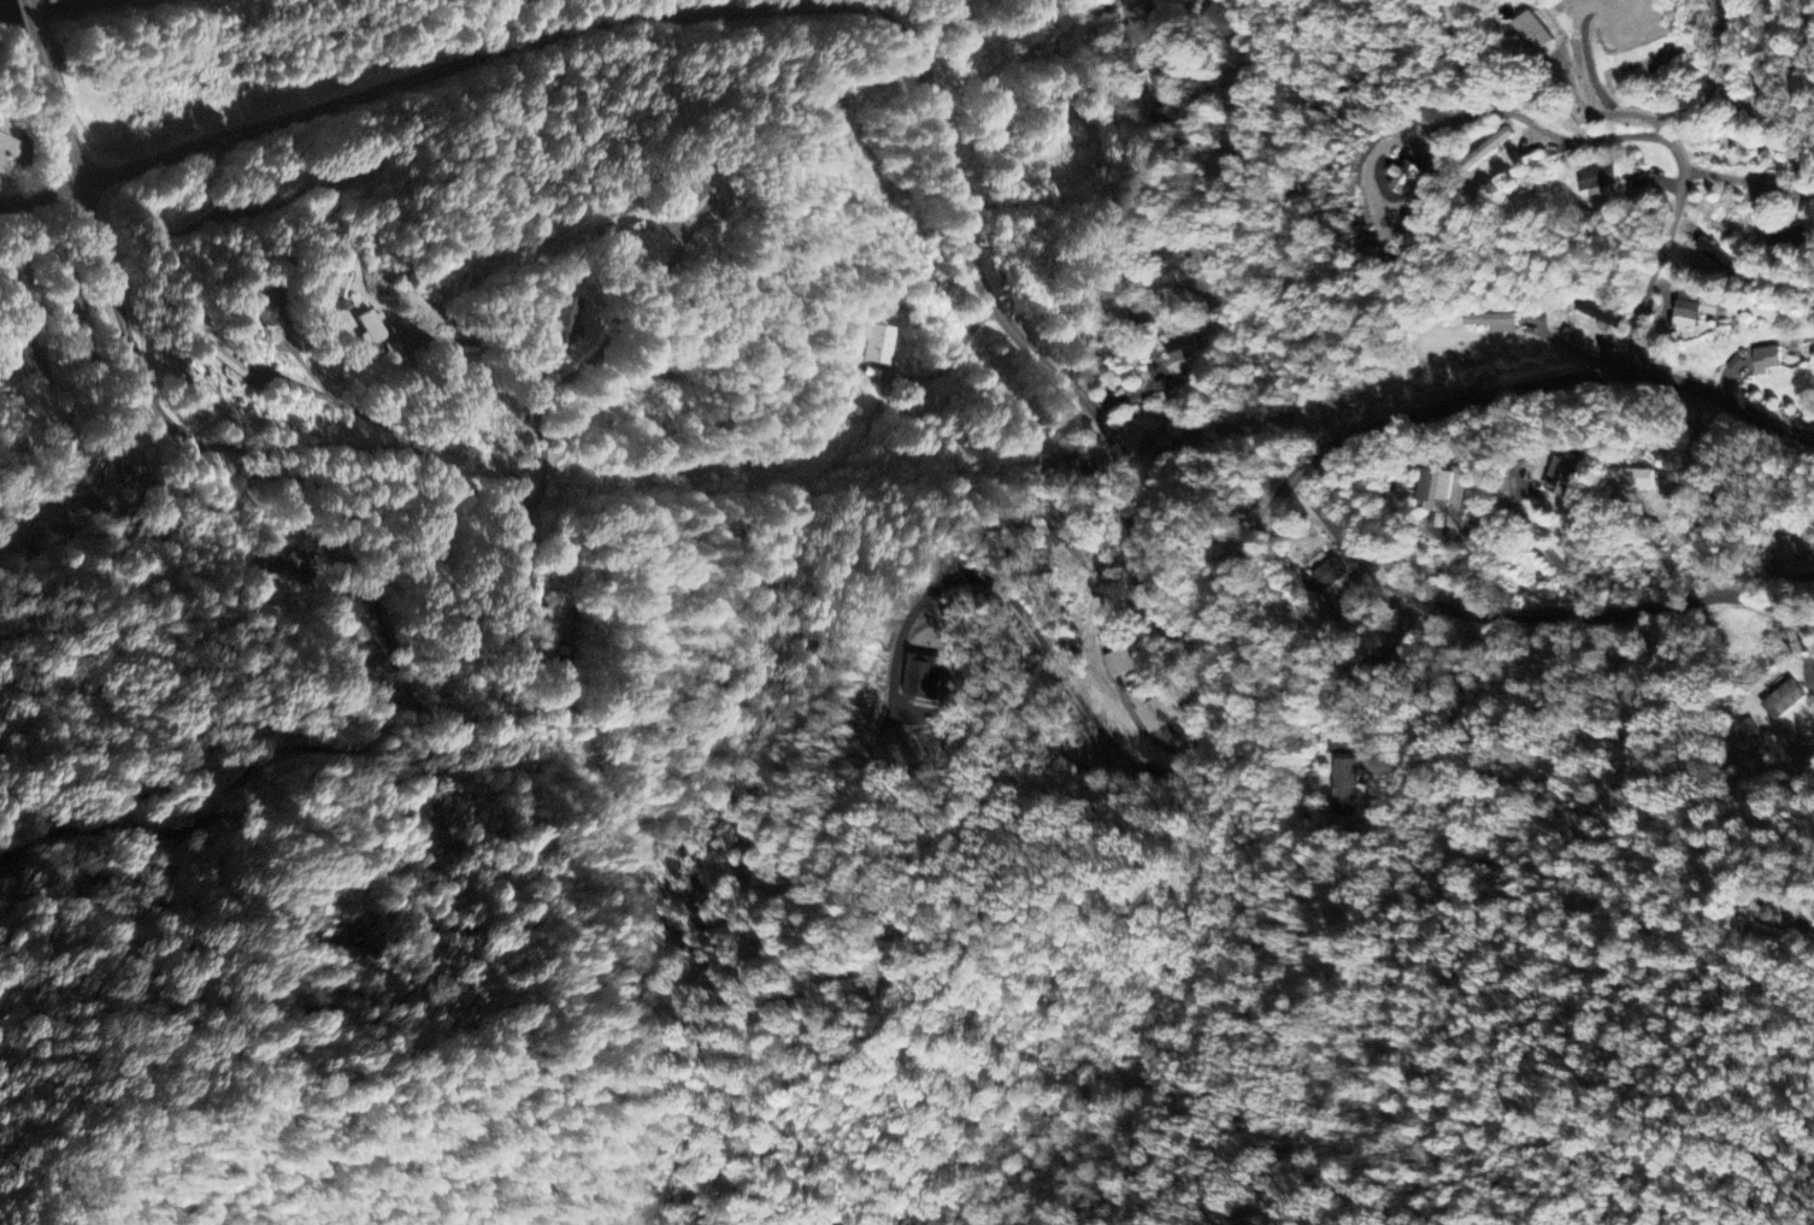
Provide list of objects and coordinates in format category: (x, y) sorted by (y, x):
road: (2, 0)
building: (1715, 8)
building: (1218, 22)
building: (1133, 24)
building: (1526, 31)
road: (41, 45)
building: (1160, 86)
building: (4, 149)
building: (1484, 149)
road: (1131, 169)
building: (1397, 178)
building: (1595, 178)
building: (285, 198)
road: (45, 199)
road: (1678, 199)
building: (695, 204)
building: (1786, 238)
road: (984, 269)
building: (331, 287)
building: (334, 306)
building: (267, 308)
building: (1690, 310)
building: (1597, 316)
road: (623, 320)
building: (565, 322)
building: (1490, 323)
building: (365, 329)
road: (131, 332)
building: (878, 347)
building: (1762, 360)
building: (225, 363)
building: (1183, 364)
building: (35, 366)
road: (443, 465)
building: (1556, 475)
building: (1627, 479)
building: (1431, 490)
road: (160, 516)
building: (287, 569)
building: (1323, 578)
road: (1527, 616)
building: (549, 625)
building: (1117, 664)
building: (919, 677)
building: (1780, 701)
building: (1148, 709)
building: (1344, 790)

